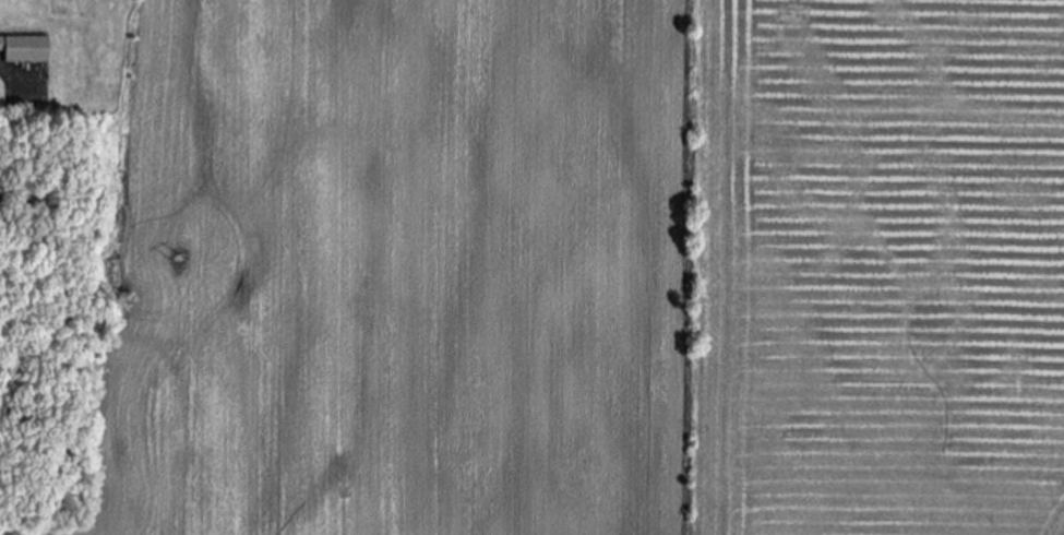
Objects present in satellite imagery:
building: (29, 51)
road: (5, 79)
power tower: (178, 260)

